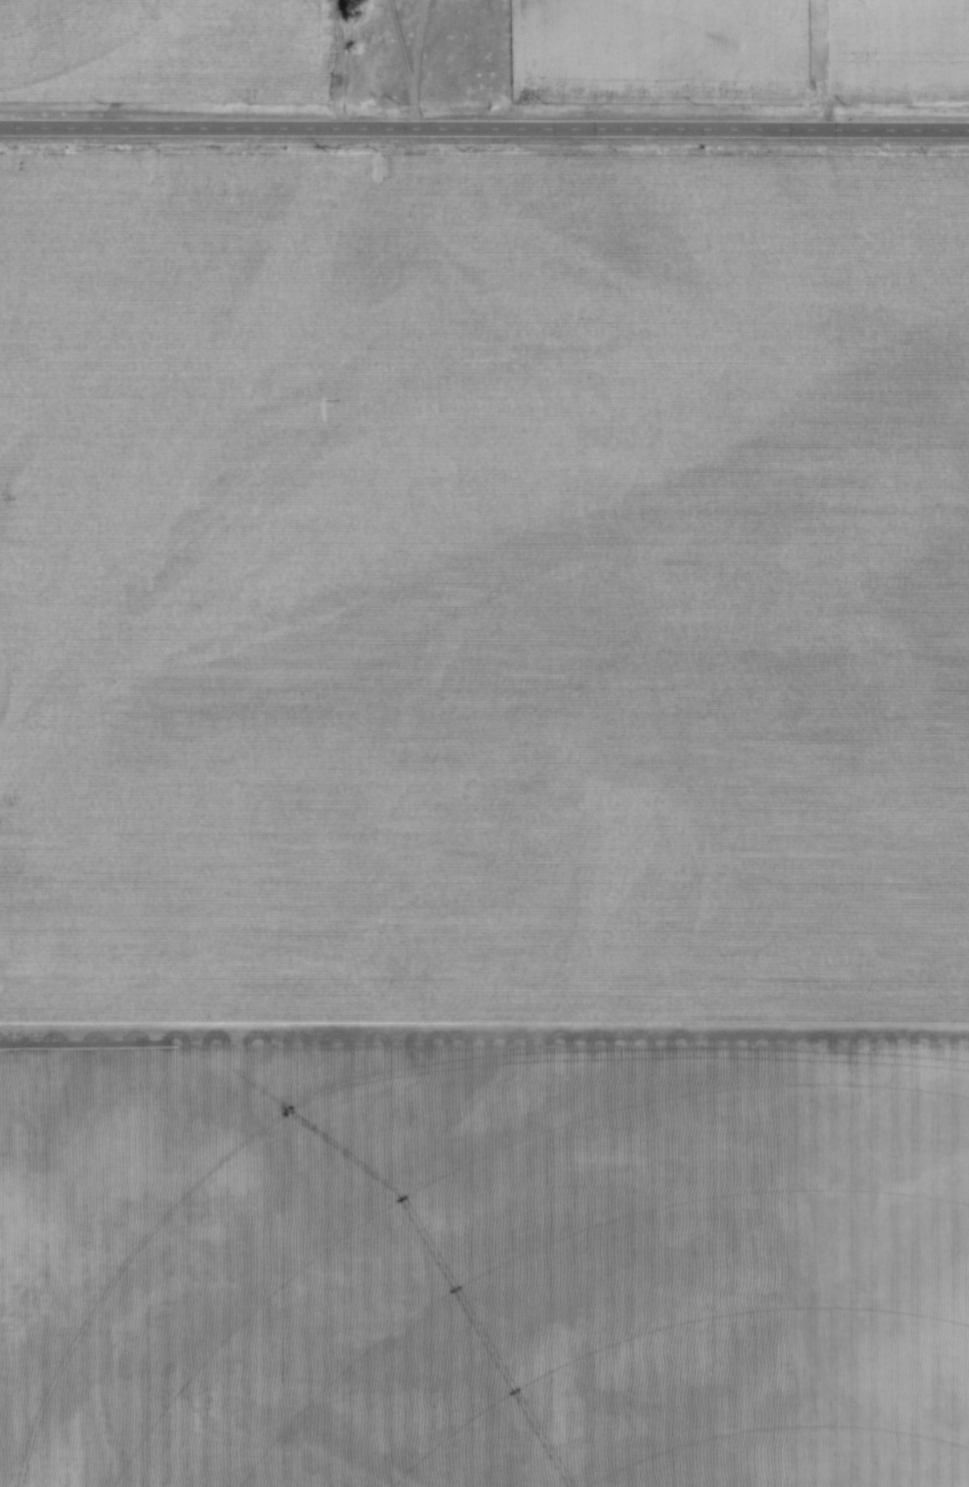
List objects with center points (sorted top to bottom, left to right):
road: (398, 46)
road: (417, 46)
road: (412, 110)
road: (484, 129)

